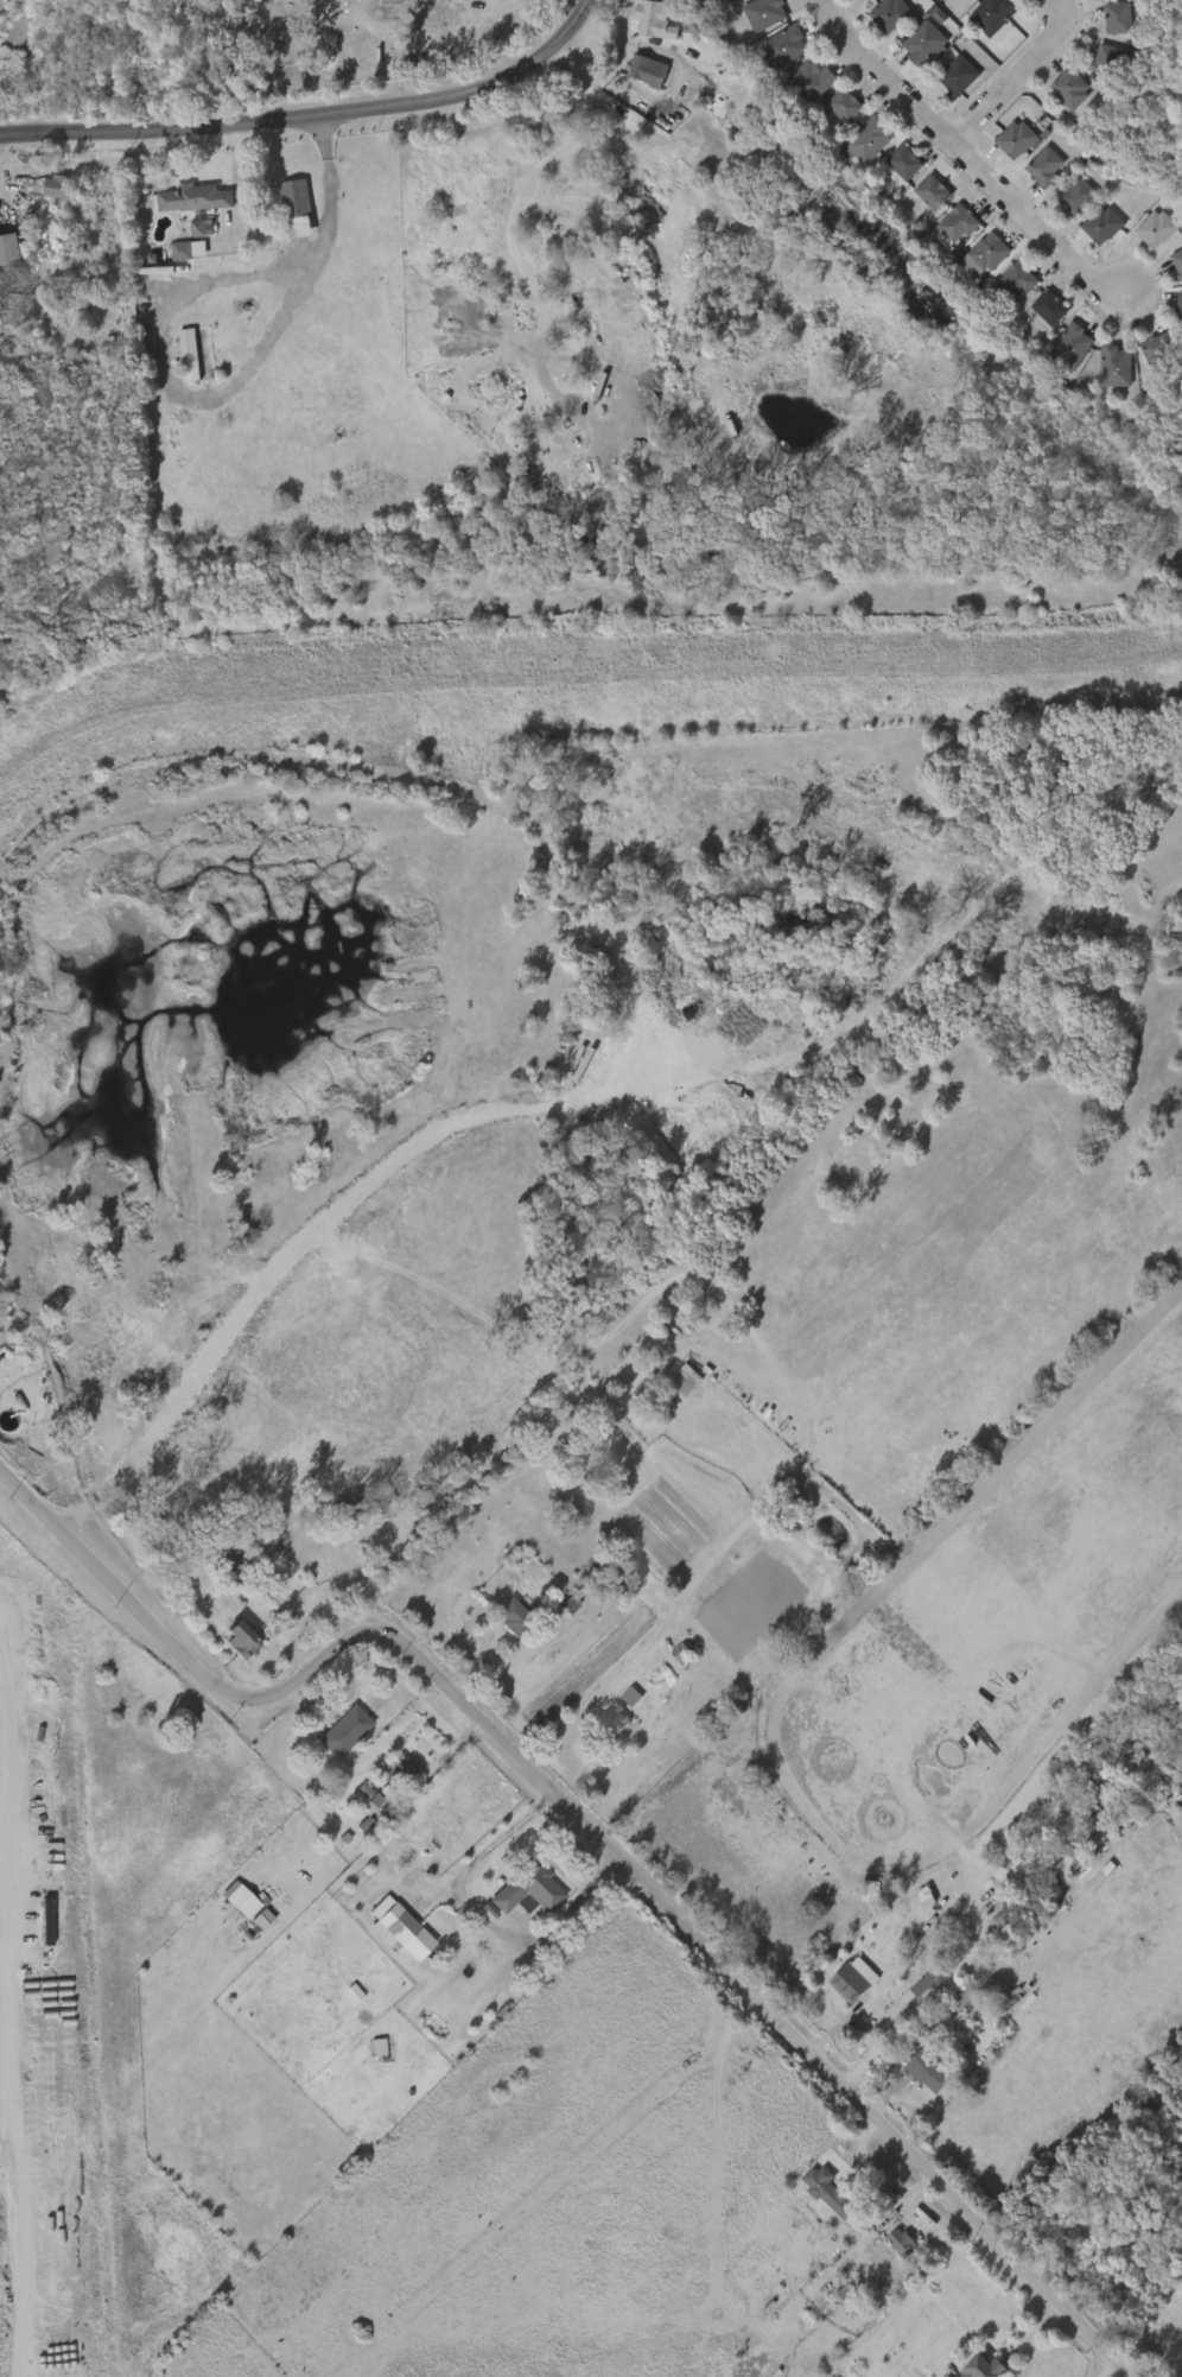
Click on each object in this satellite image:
building: (958, 2)
building: (763, 13)
building: (992, 14)
building: (890, 15)
building: (1120, 18)
building: (653, 20)
building: (700, 38)
building: (927, 43)
building: (693, 46)
building: (783, 46)
building: (1112, 61)
building: (644, 70)
building: (957, 76)
road: (1016, 77)
building: (809, 81)
building: (1069, 89)
building: (844, 106)
road: (316, 115)
building: (1017, 138)
building: (869, 140)
road: (964, 154)
building: (903, 163)
building: (1046, 166)
building: (58, 186)
building: (49, 191)
building: (932, 192)
building: (1079, 196)
building: (294, 197)
building: (191, 198)
building: (1104, 224)
building: (953, 227)
building: (1157, 228)
building: (191, 233)
building: (7, 247)
building: (189, 249)
building: (991, 251)
building: (1177, 265)
building: (1018, 280)
building: (1051, 308)
building: (1180, 310)
building: (1038, 312)
building: (1073, 346)
building: (1161, 351)
building: (190, 355)
building: (179, 360)
building: (1117, 366)
building: (1104, 372)
road: (218, 398)
road: (317, 1236)
building: (675, 1384)
building: (233, 1573)
road: (876, 1602)
building: (559, 1609)
building: (515, 1615)
building: (243, 1641)
building: (231, 1642)
building: (673, 1659)
building: (621, 1700)
building: (612, 1719)
road: (1072, 1720)
building: (600, 1724)
building: (342, 1730)
building: (402, 1768)
building: (392, 1770)
building: (356, 1802)
road: (585, 1824)
road: (977, 1861)
building: (1003, 1875)
building: (1047, 1880)
building: (530, 1893)
building: (915, 1901)
building: (230, 1902)
road: (471, 1921)
building: (253, 1922)
building: (395, 1922)
building: (853, 1984)
road: (941, 1996)
building: (961, 1999)
building: (368, 2050)
building: (928, 2071)
building: (916, 2075)
building: (828, 2191)
building: (818, 2195)
building: (902, 2240)
building: (891, 2246)
building: (985, 2368)
road: (1113, 2370)

